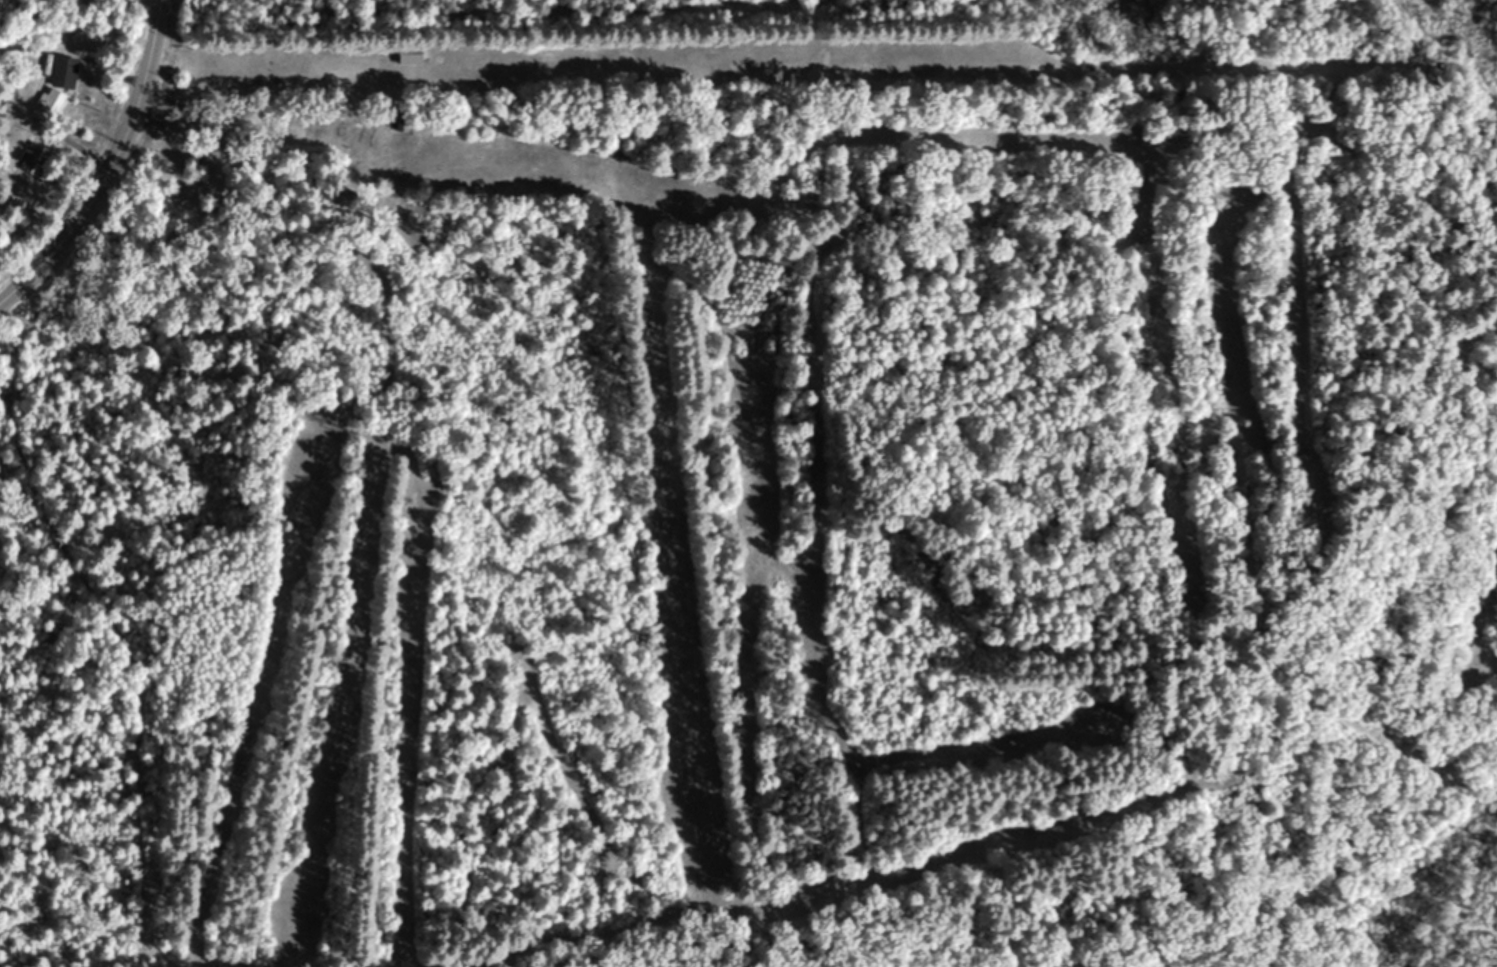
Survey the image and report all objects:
building: (410, 54)
building: (59, 83)
building: (400, 120)
building: (31, 158)
road: (114, 164)
park: (747, 514)

